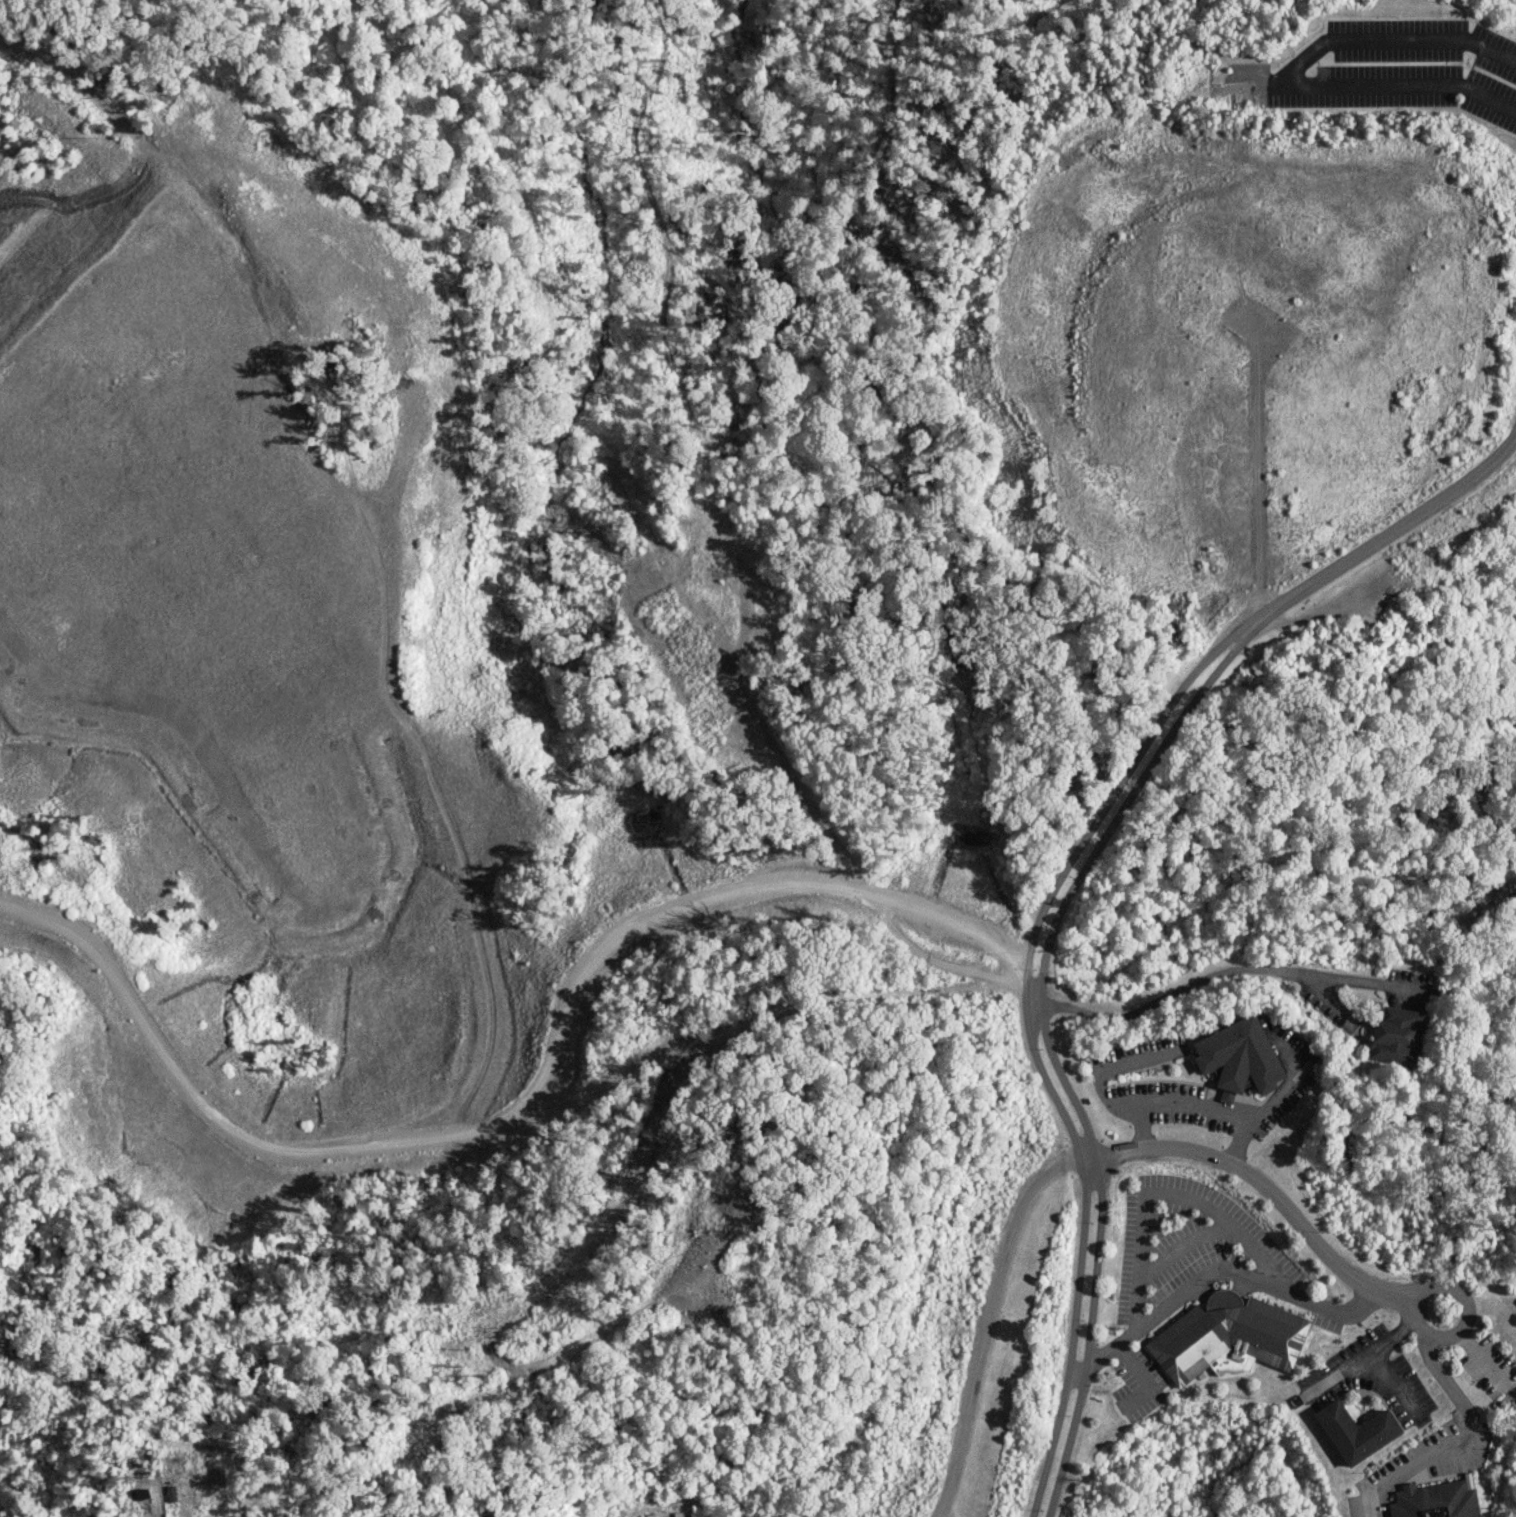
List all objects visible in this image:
road: (1391, 40)
road: (1372, 85)
road: (1257, 471)
road: (1391, 531)
road: (1328, 609)
road: (864, 886)
road: (1224, 973)
road: (1327, 997)
building: (1402, 1034)
road: (1029, 1037)
road: (1047, 1043)
building: (1242, 1057)
road: (1289, 1080)
road: (1142, 1104)
road: (520, 1110)
road: (1139, 1127)
road: (1266, 1188)
road: (1167, 1194)
road: (1182, 1248)
road: (1213, 1276)
road: (1508, 1305)
road: (1467, 1306)
road: (1495, 1306)
road: (988, 1324)
building: (1229, 1337)
road: (1358, 1357)
road: (1484, 1363)
road: (1145, 1380)
road: (1395, 1387)
building: (1359, 1430)
road: (1459, 1438)
building: (173, 1494)
building: (141, 1495)
building: (1439, 1501)

